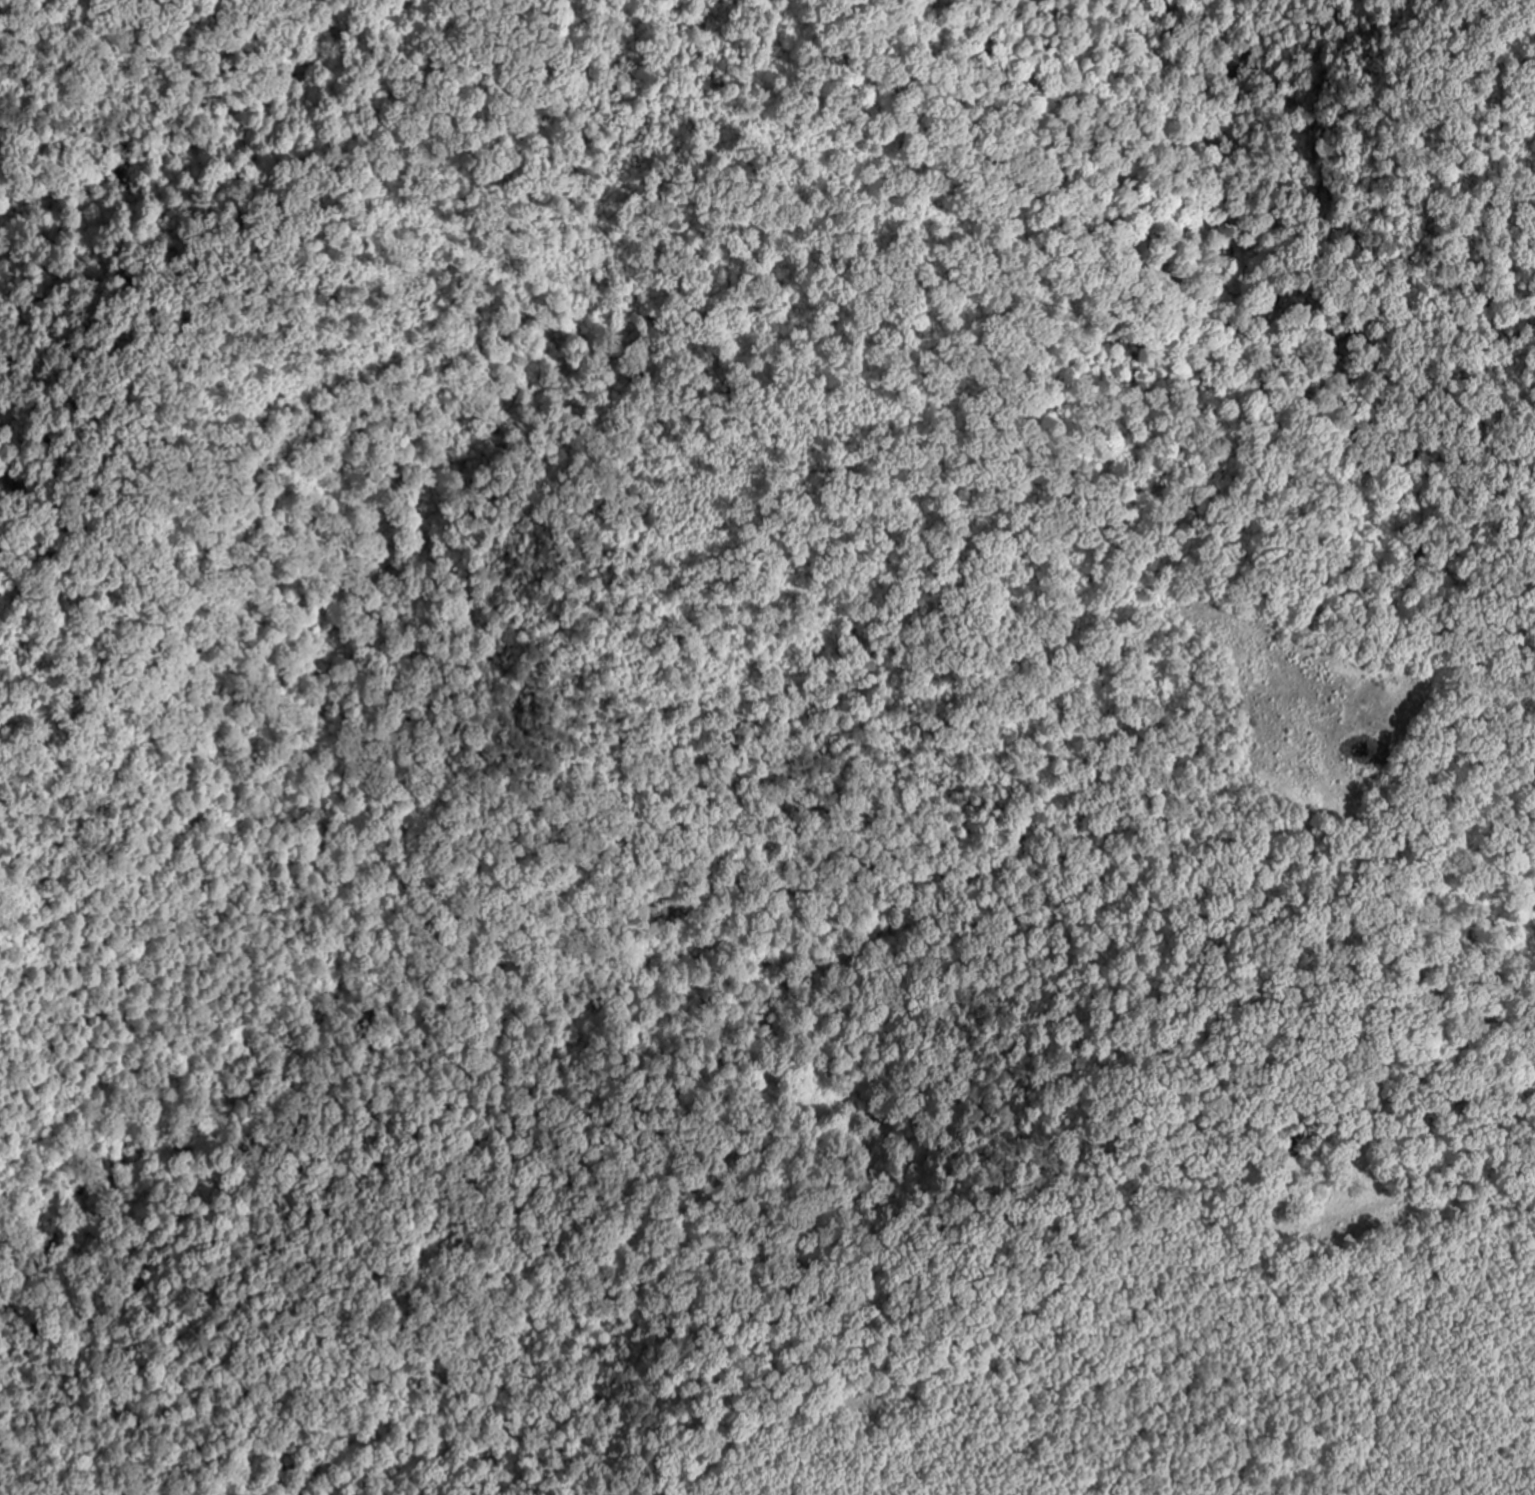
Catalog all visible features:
road: (1424, 740)
road: (1466, 918)
road: (1350, 1101)
road: (1026, 1296)

